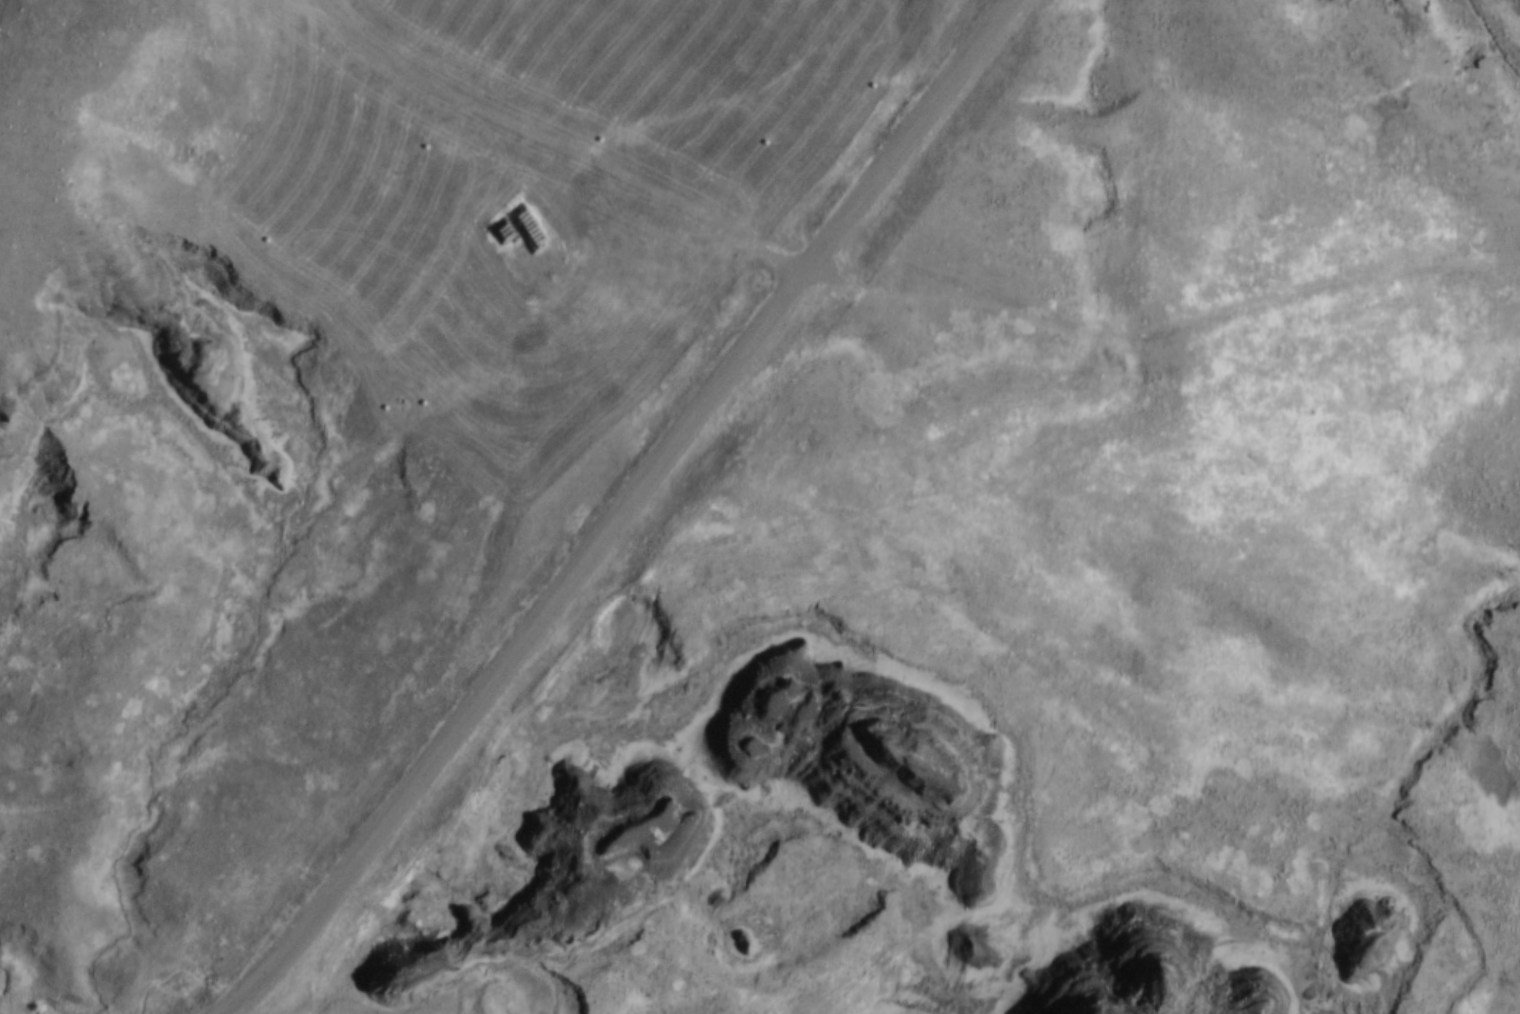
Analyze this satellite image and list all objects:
road: (652, 166)
road: (1171, 329)
road: (622, 510)

